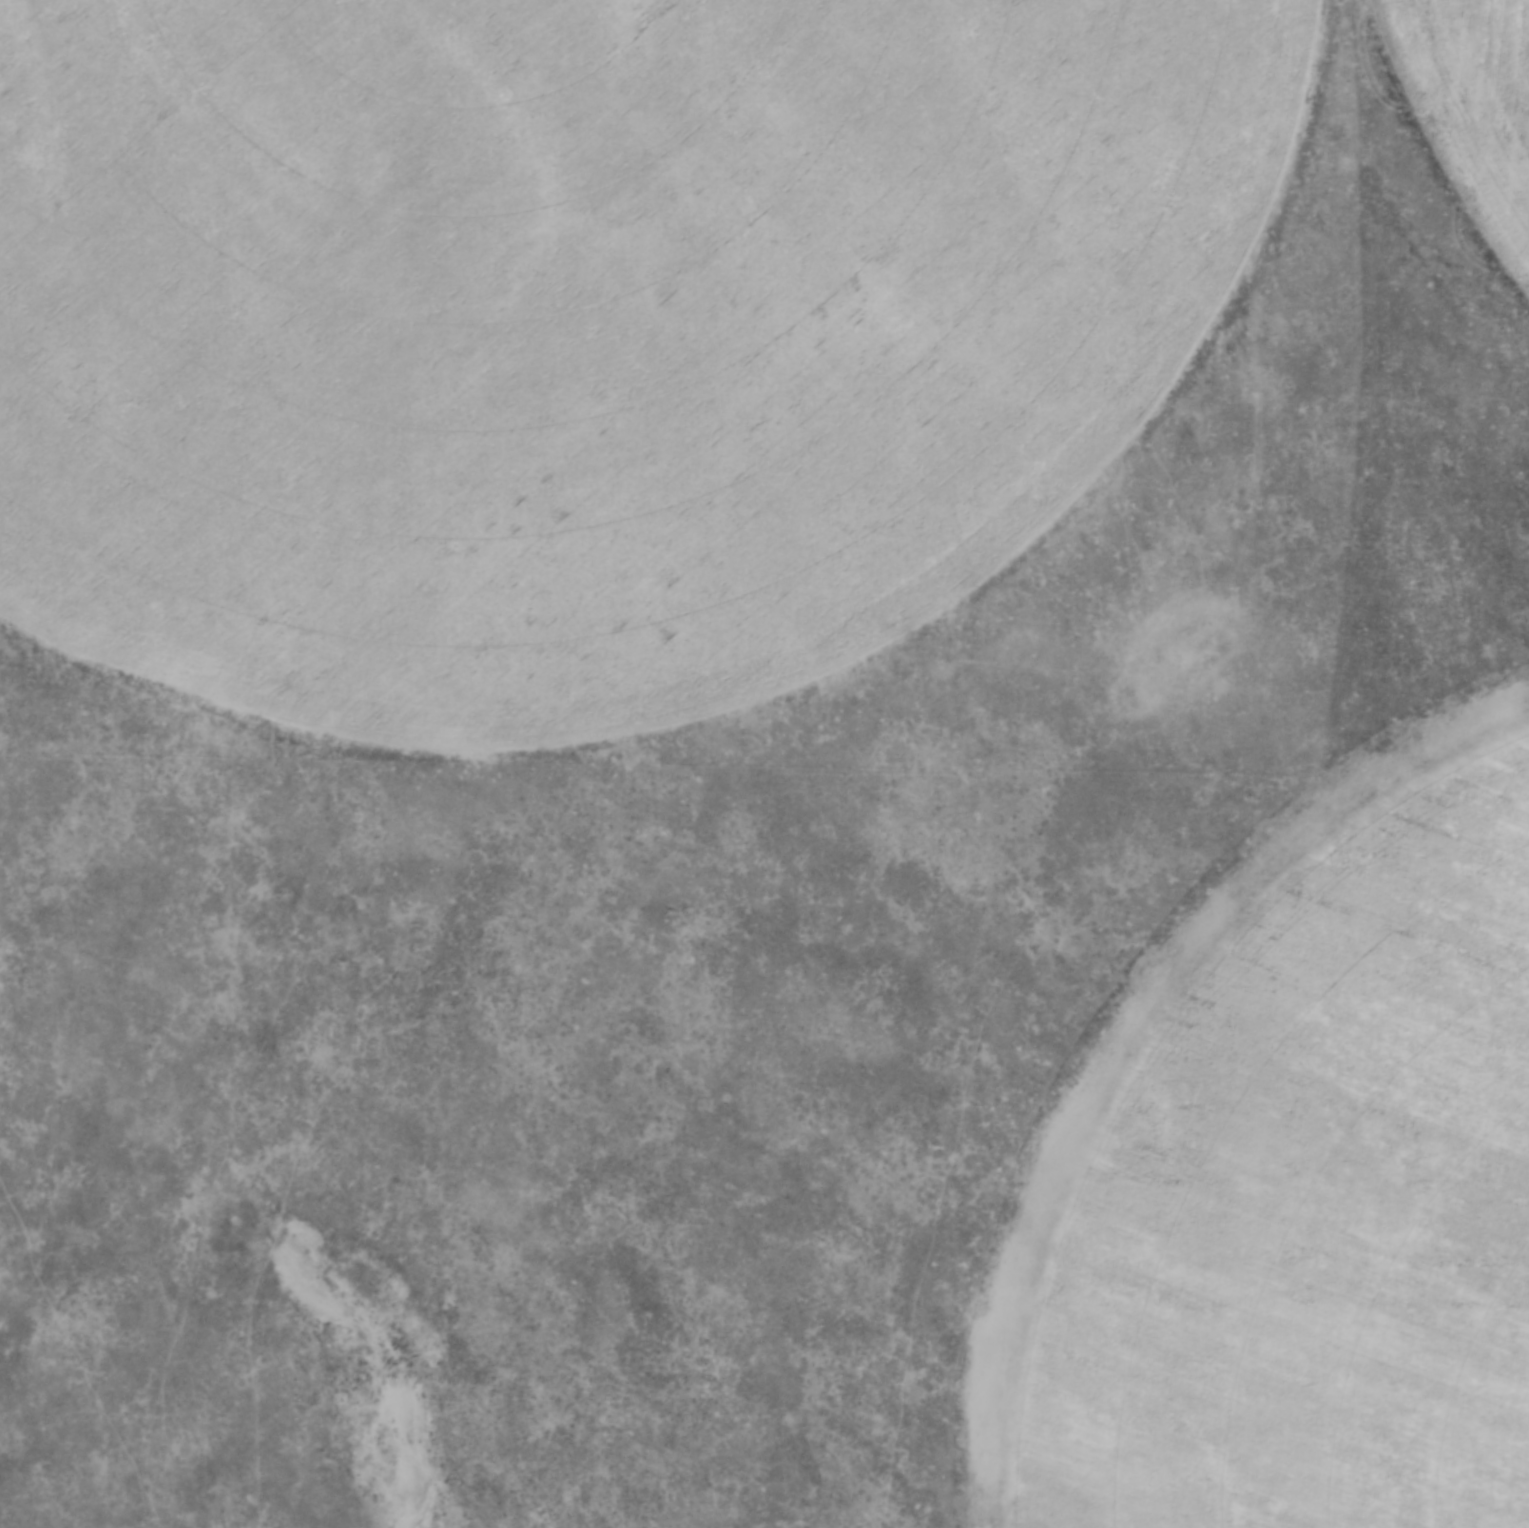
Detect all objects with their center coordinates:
crop: (1470, 111)
crop: (585, 331)
crop: (1293, 1192)

